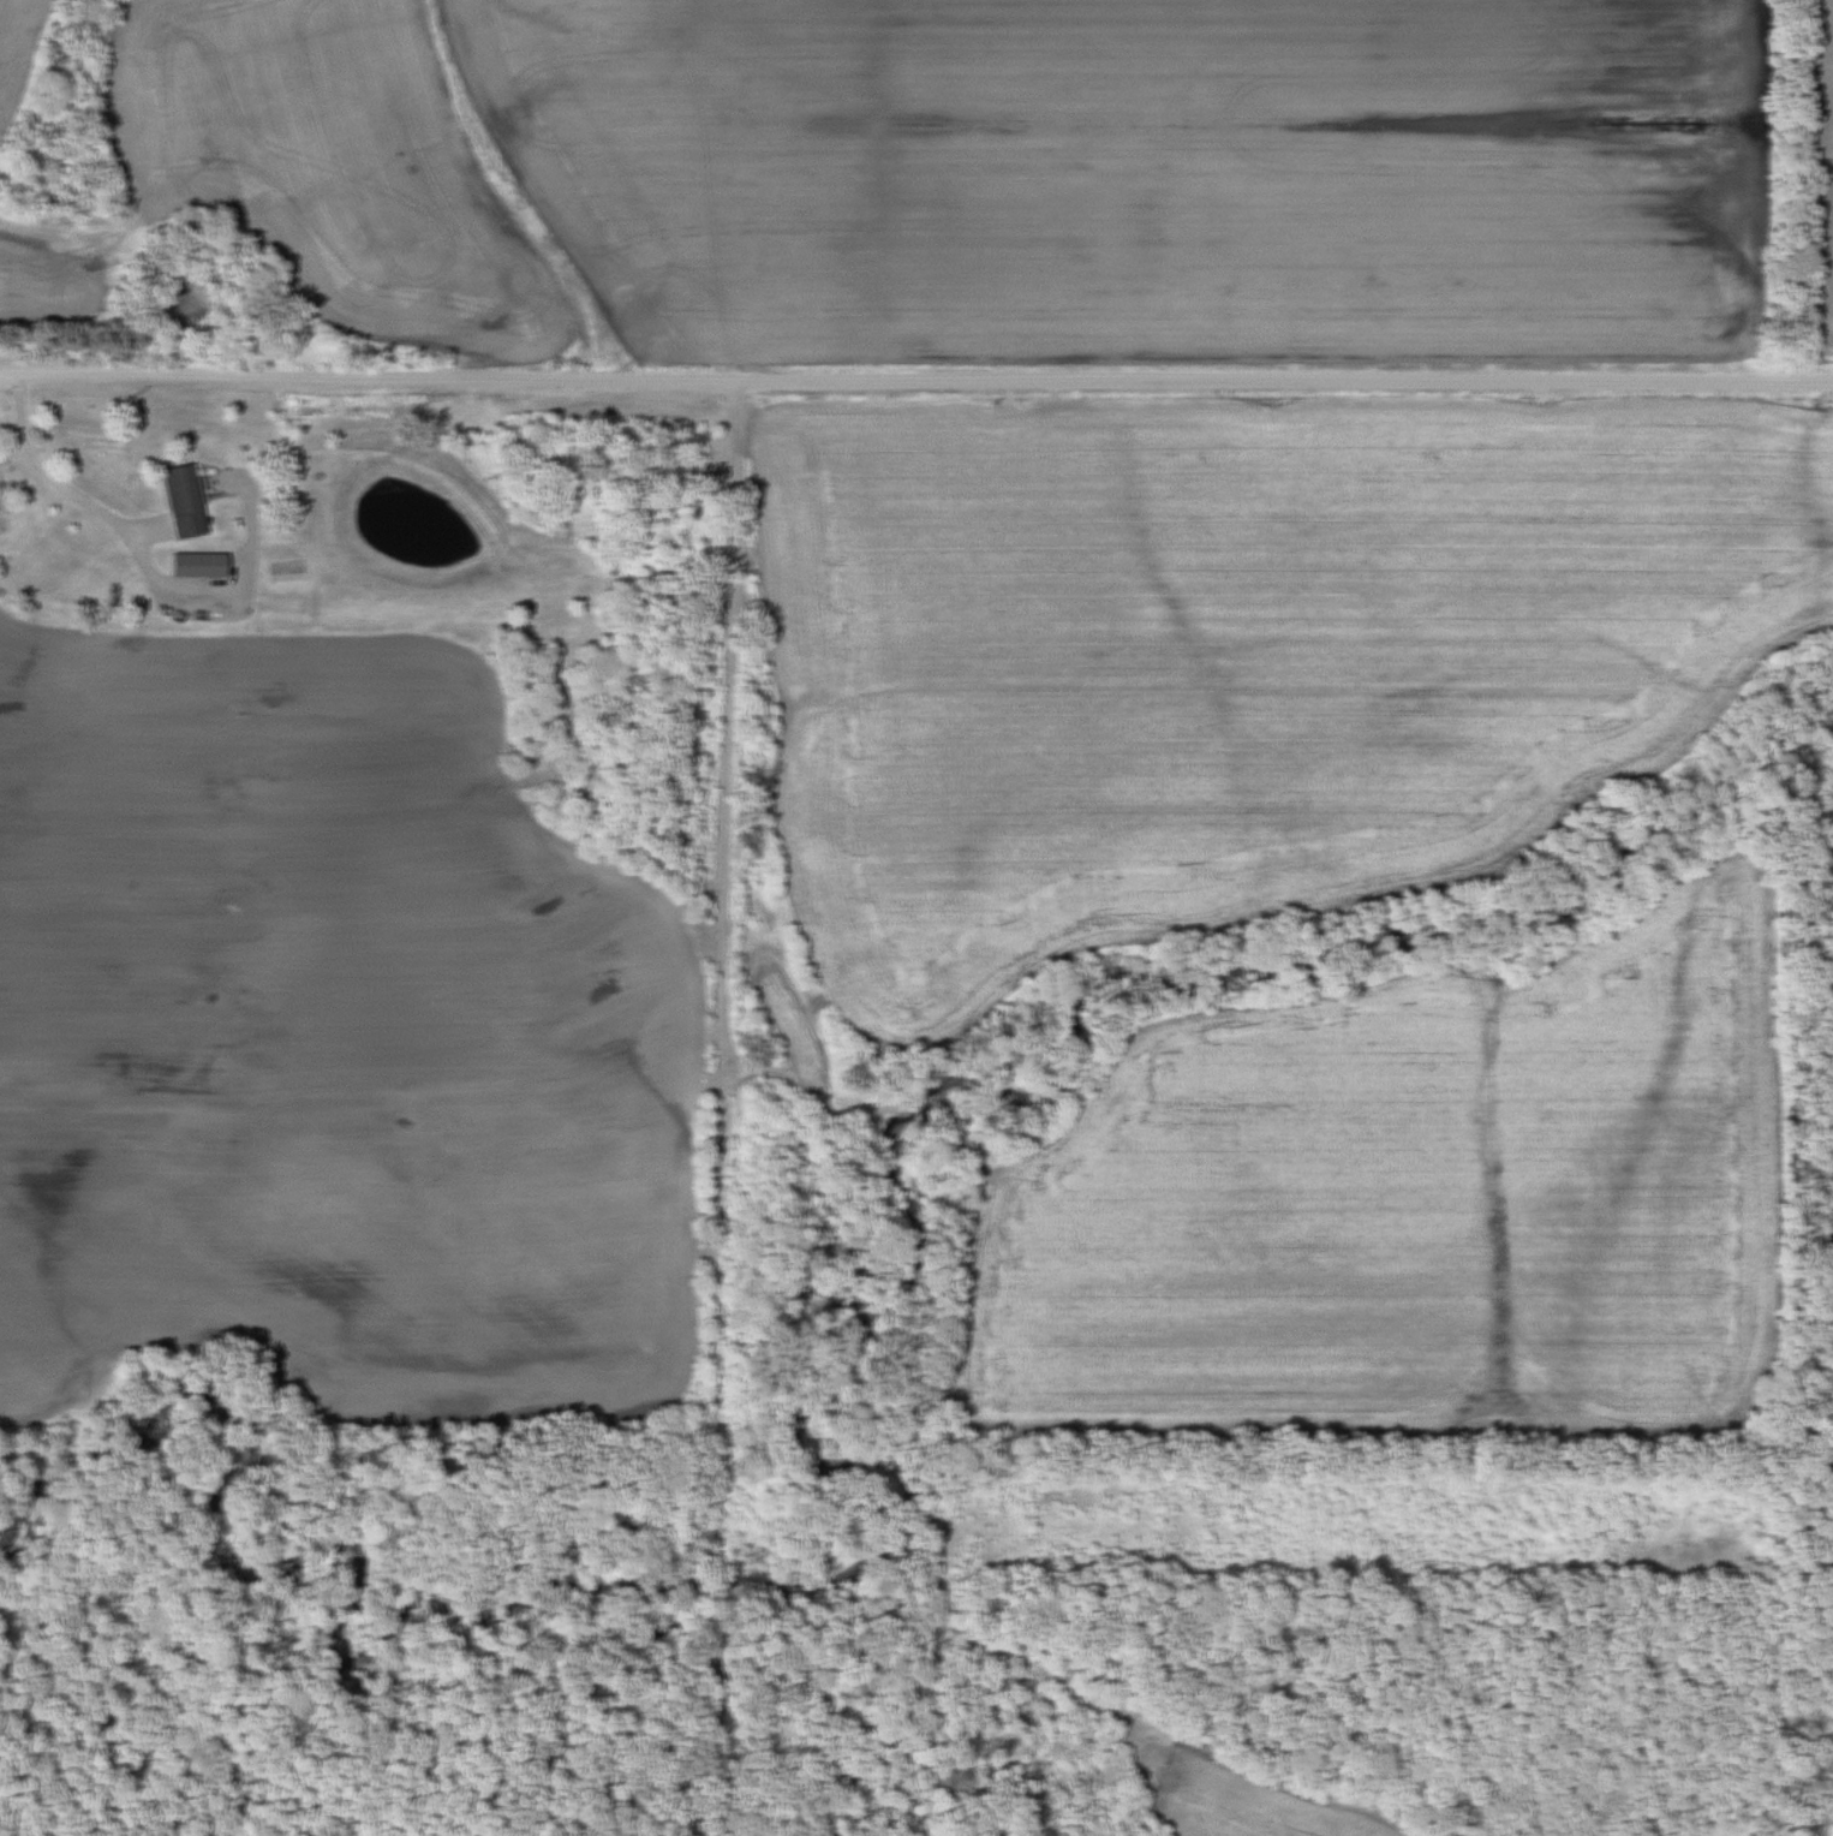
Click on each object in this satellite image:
road: (915, 376)
building: (184, 501)
building: (199, 564)
road: (724, 1107)

